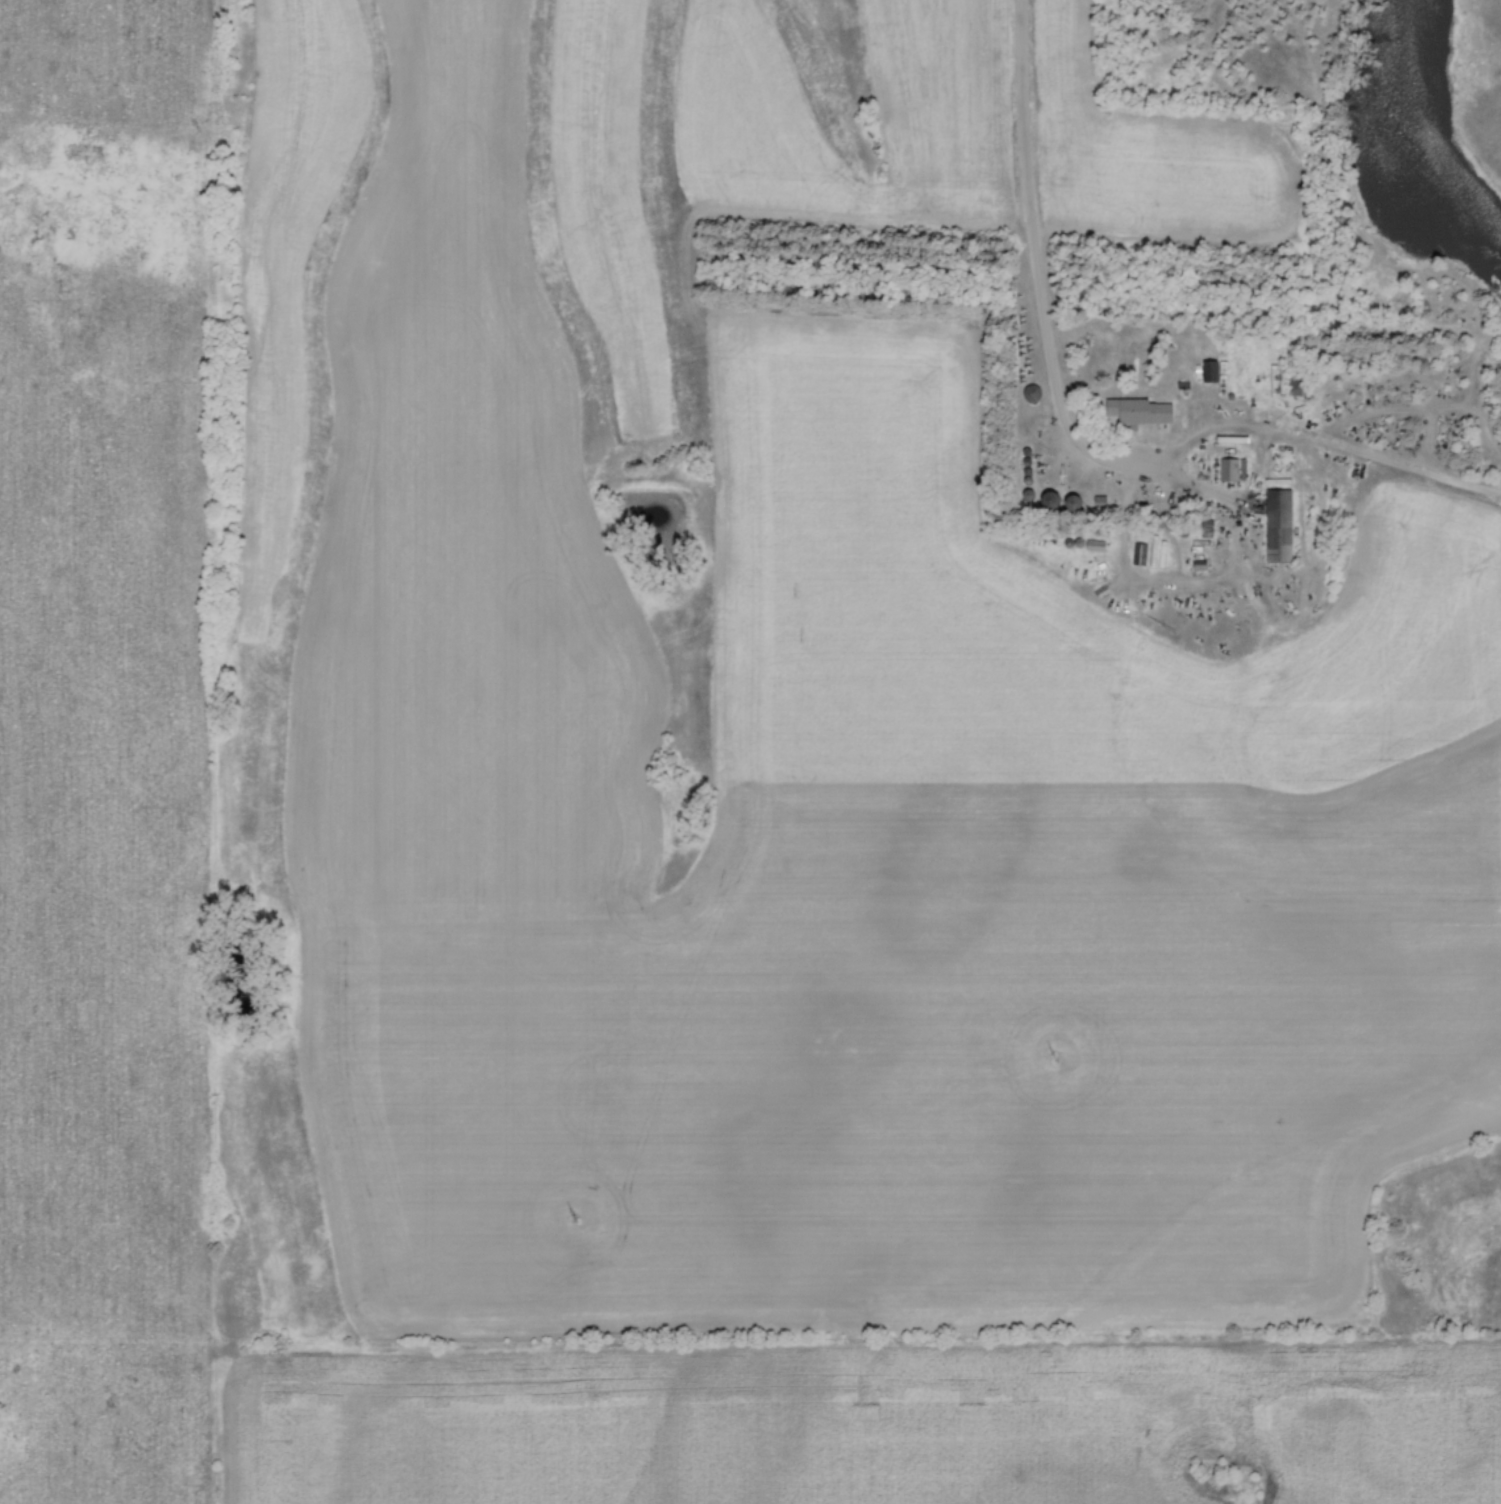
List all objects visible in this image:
road: (1031, 222)
building: (1215, 373)
building: (1288, 381)
building: (1034, 393)
building: (1144, 410)
road: (1331, 423)
building: (1233, 469)
building: (1079, 503)
building: (1284, 525)
building: (1144, 554)

